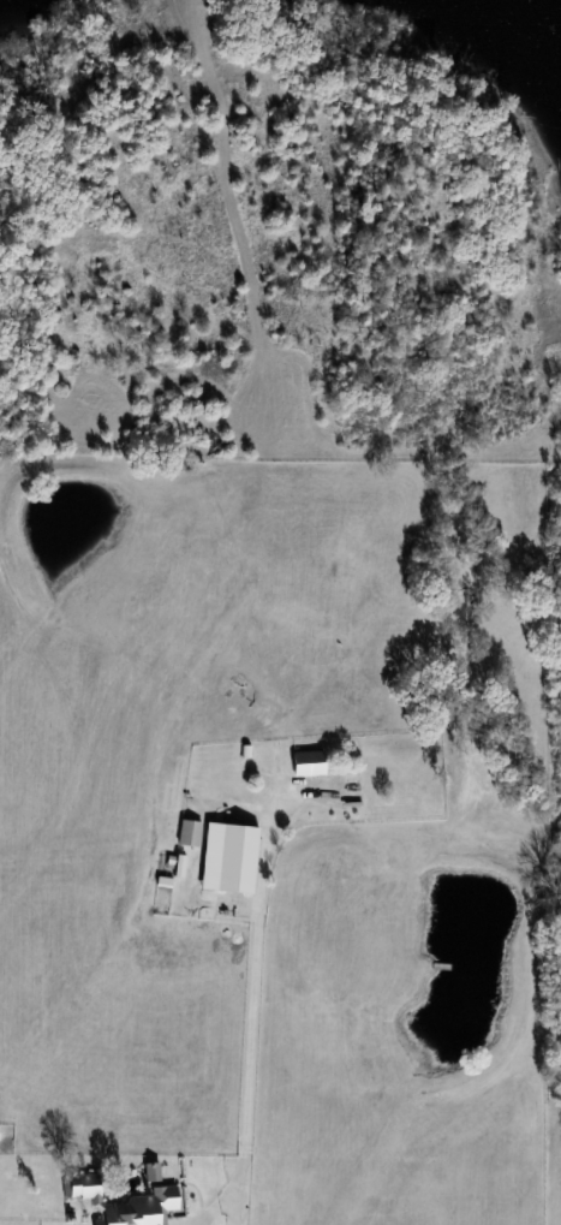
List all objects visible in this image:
building: (308, 765)
building: (402, 777)
building: (189, 833)
building: (228, 858)
road: (251, 979)
building: (123, 1203)

